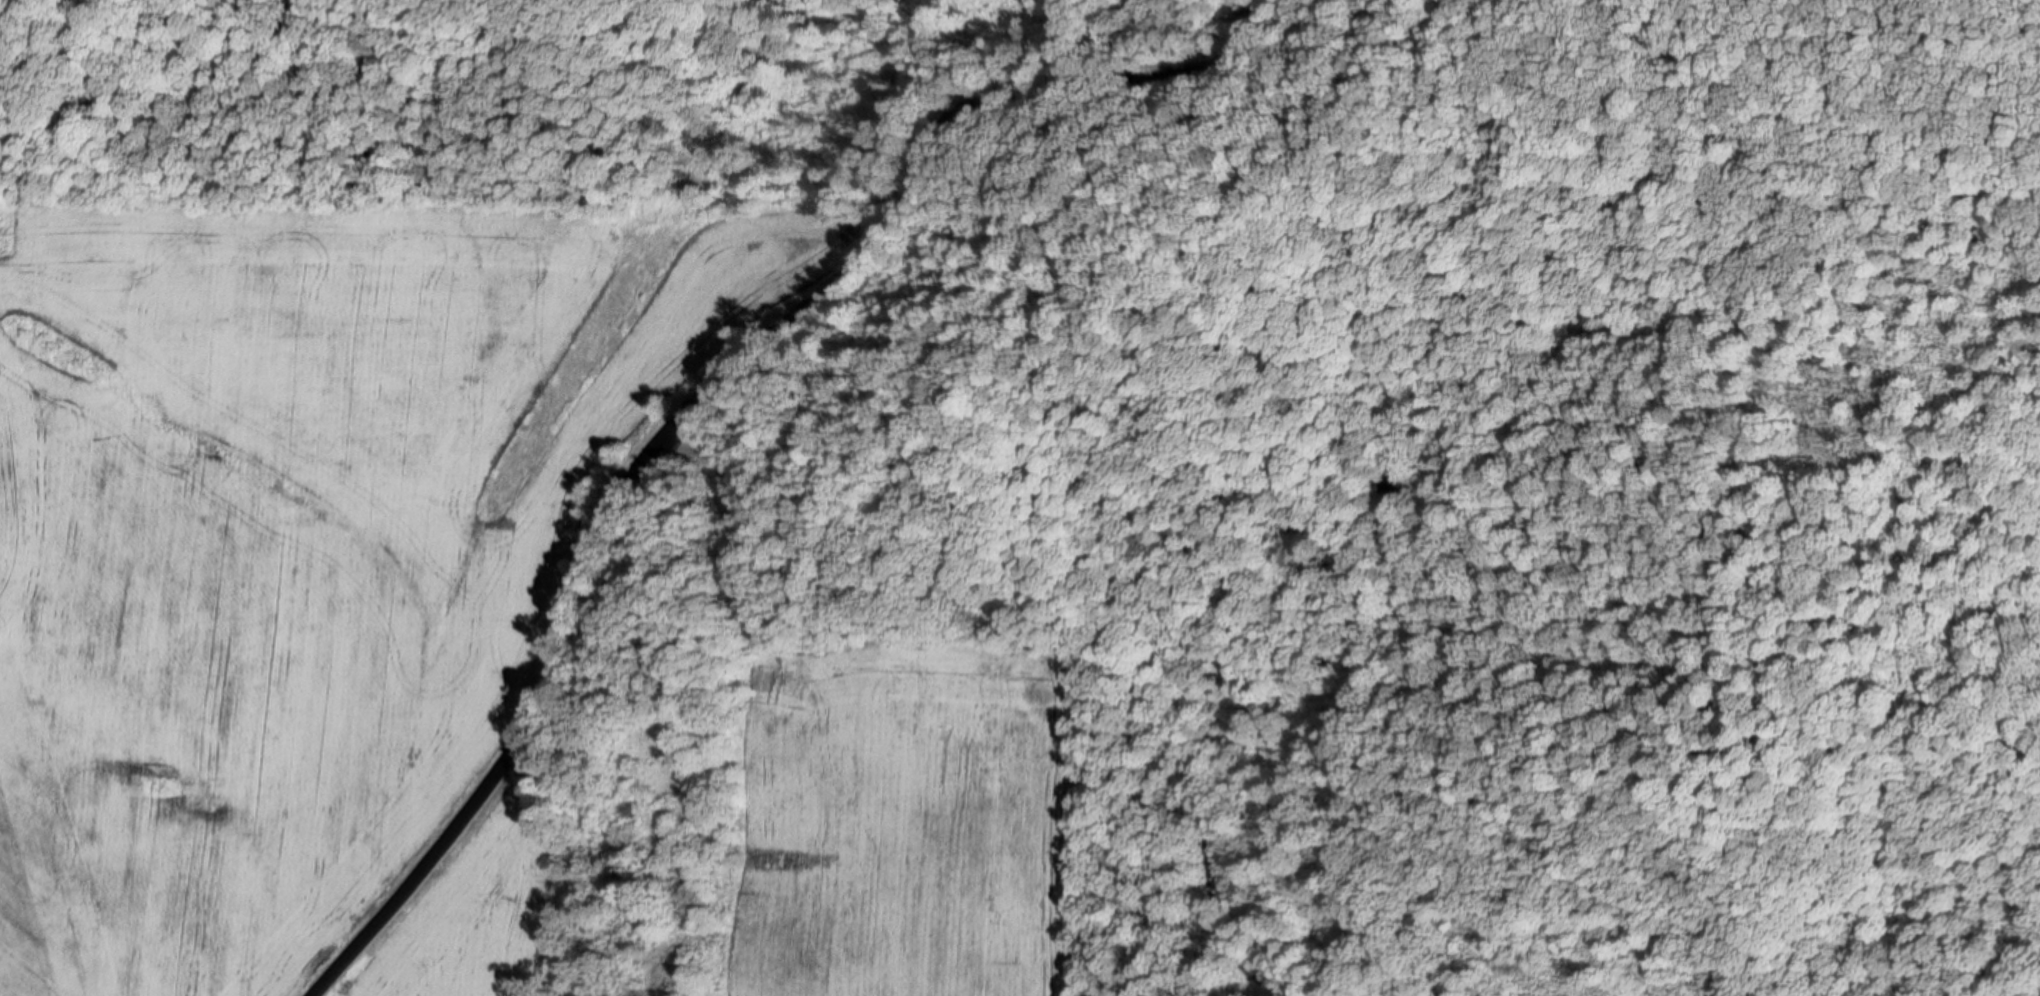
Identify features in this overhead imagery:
road: (1058, 91)
park: (1591, 91)
road: (589, 587)

